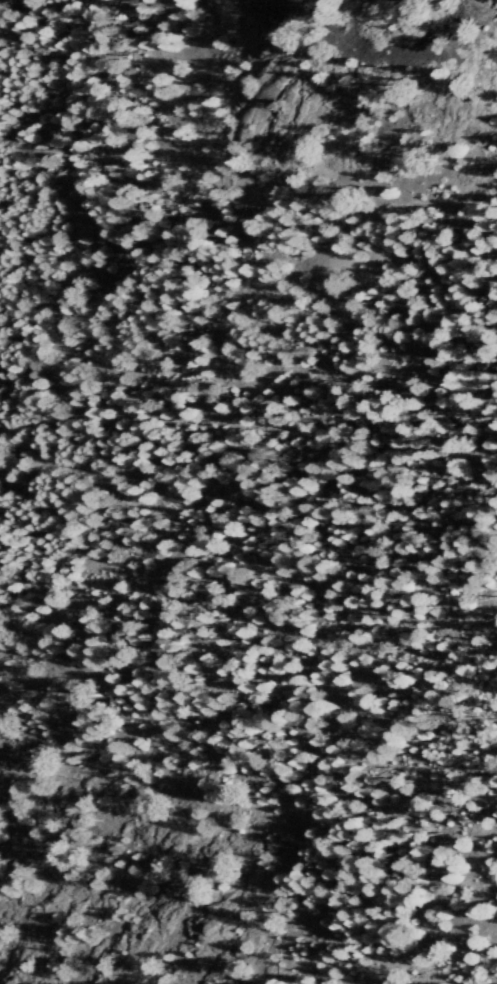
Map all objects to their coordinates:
road: (225, 187)
road: (15, 355)
road: (17, 377)
road: (271, 384)

